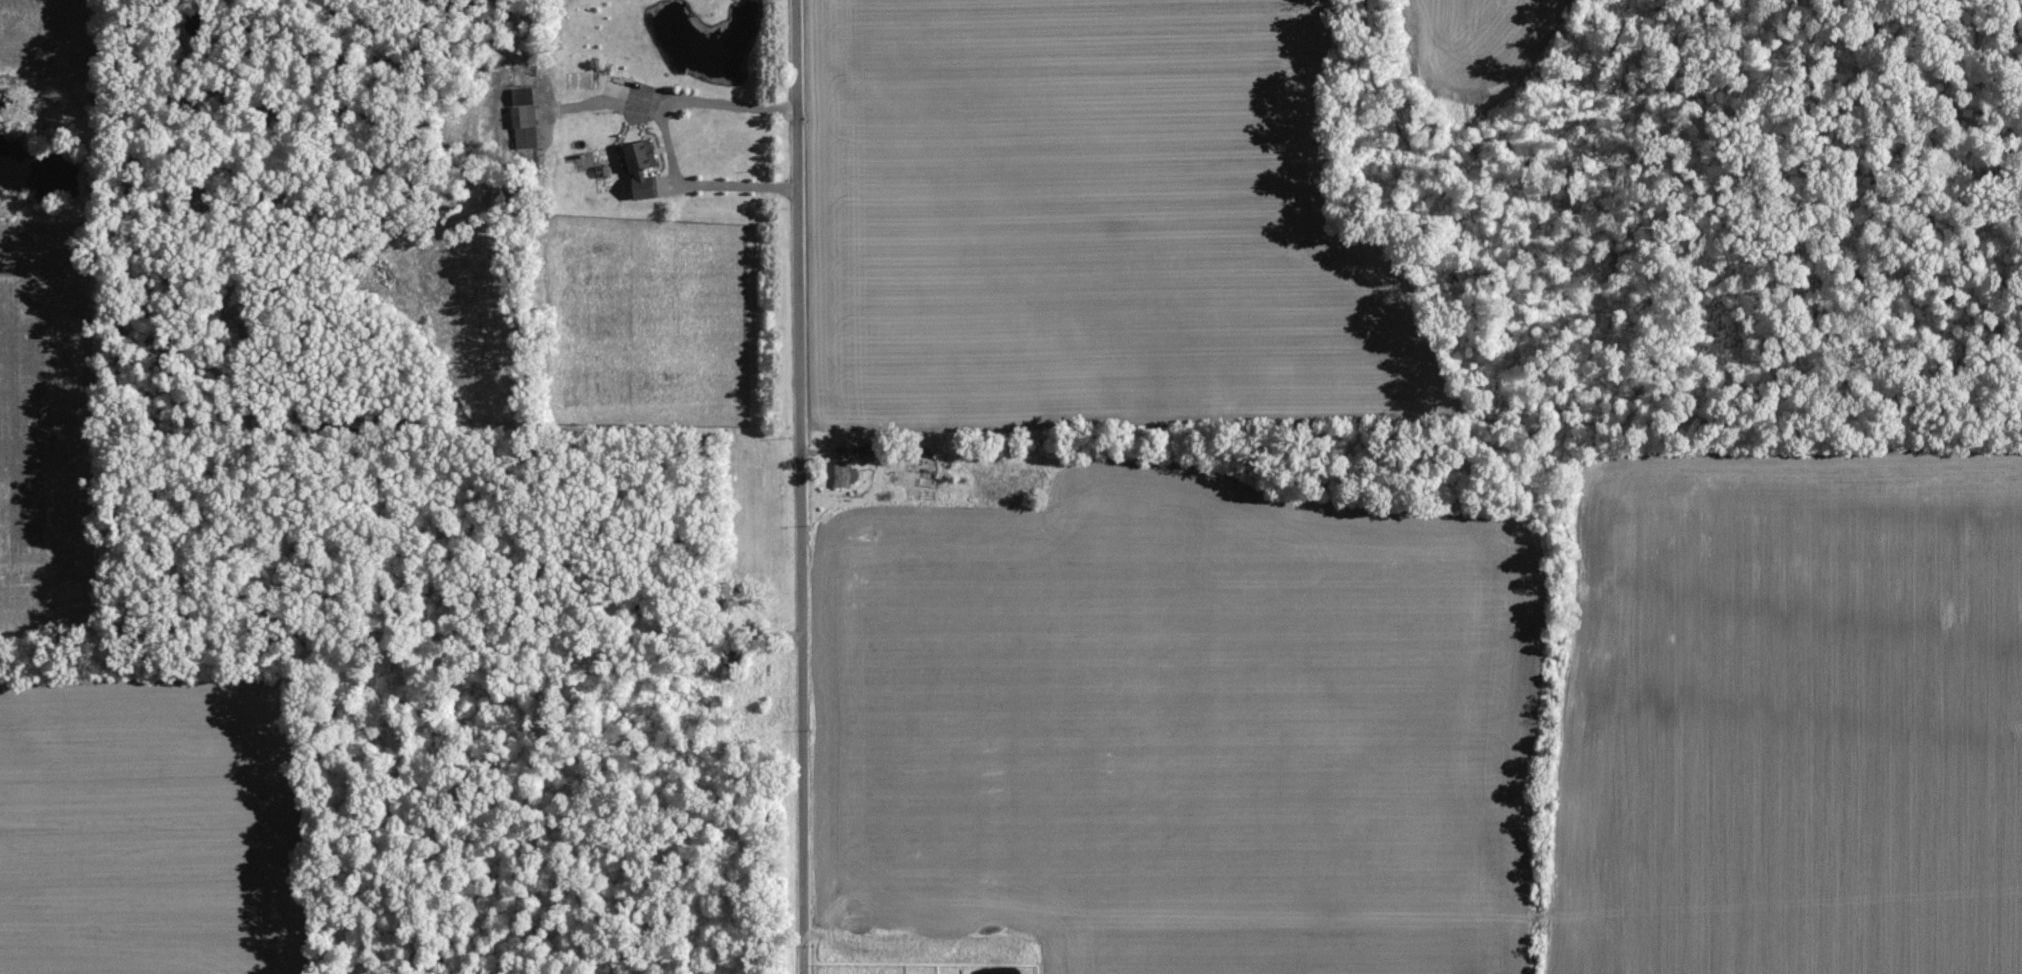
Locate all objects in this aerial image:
road: (711, 96)
building: (522, 125)
building: (639, 166)
building: (841, 472)
road: (800, 486)

